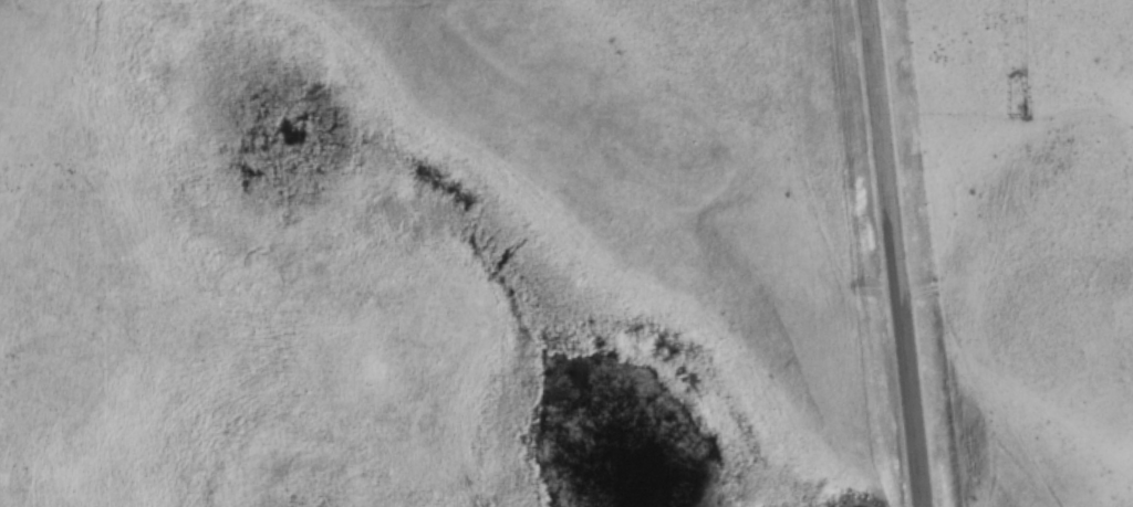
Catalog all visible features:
road: (891, 253)

